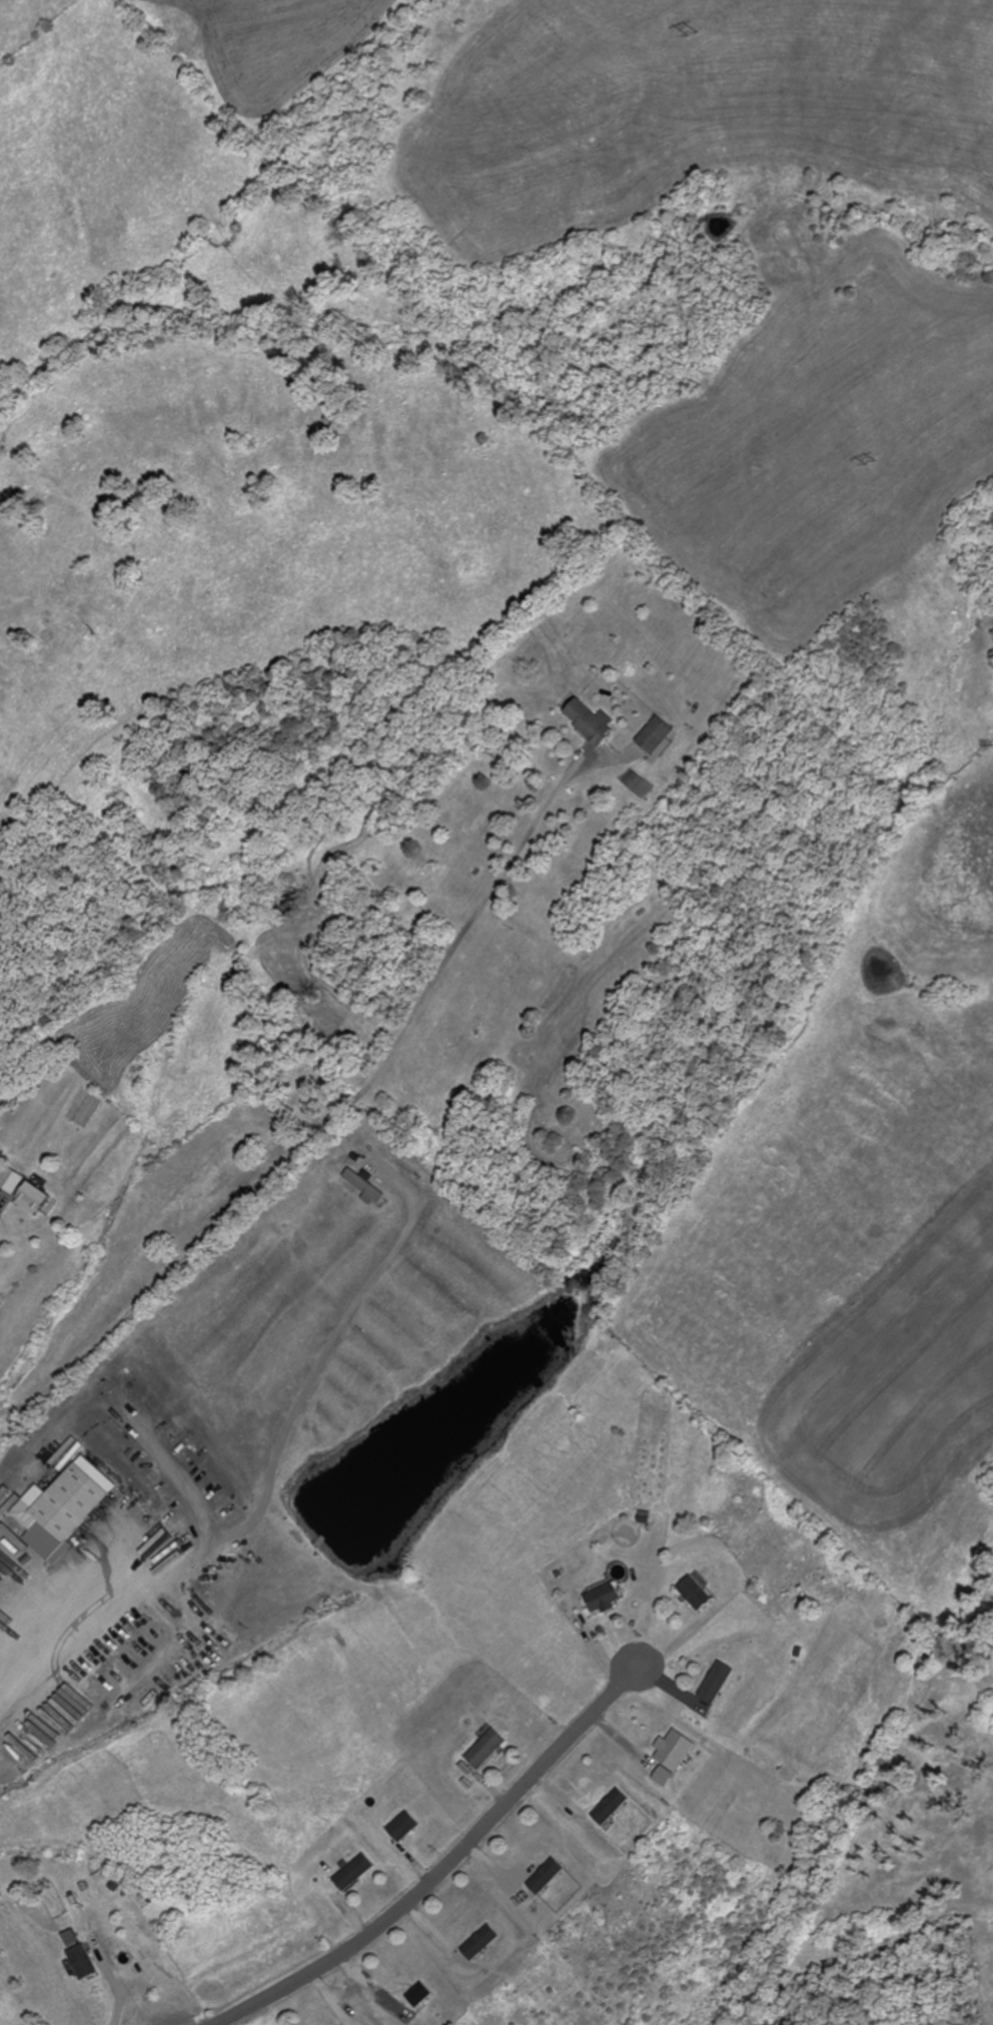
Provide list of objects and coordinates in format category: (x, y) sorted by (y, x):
power tower: (696, 34)
building: (590, 721)
building: (655, 734)
building: (11, 1180)
building: (33, 1198)
building: (59, 1508)
building: (694, 1593)
building: (602, 1597)
building: (717, 1682)
building: (485, 1749)
building: (674, 1751)
building: (664, 1777)
building: (611, 1807)
building: (402, 1827)
road: (447, 1868)
building: (353, 1873)
building: (545, 1876)
building: (479, 1942)
building: (81, 1962)
building: (418, 1995)

